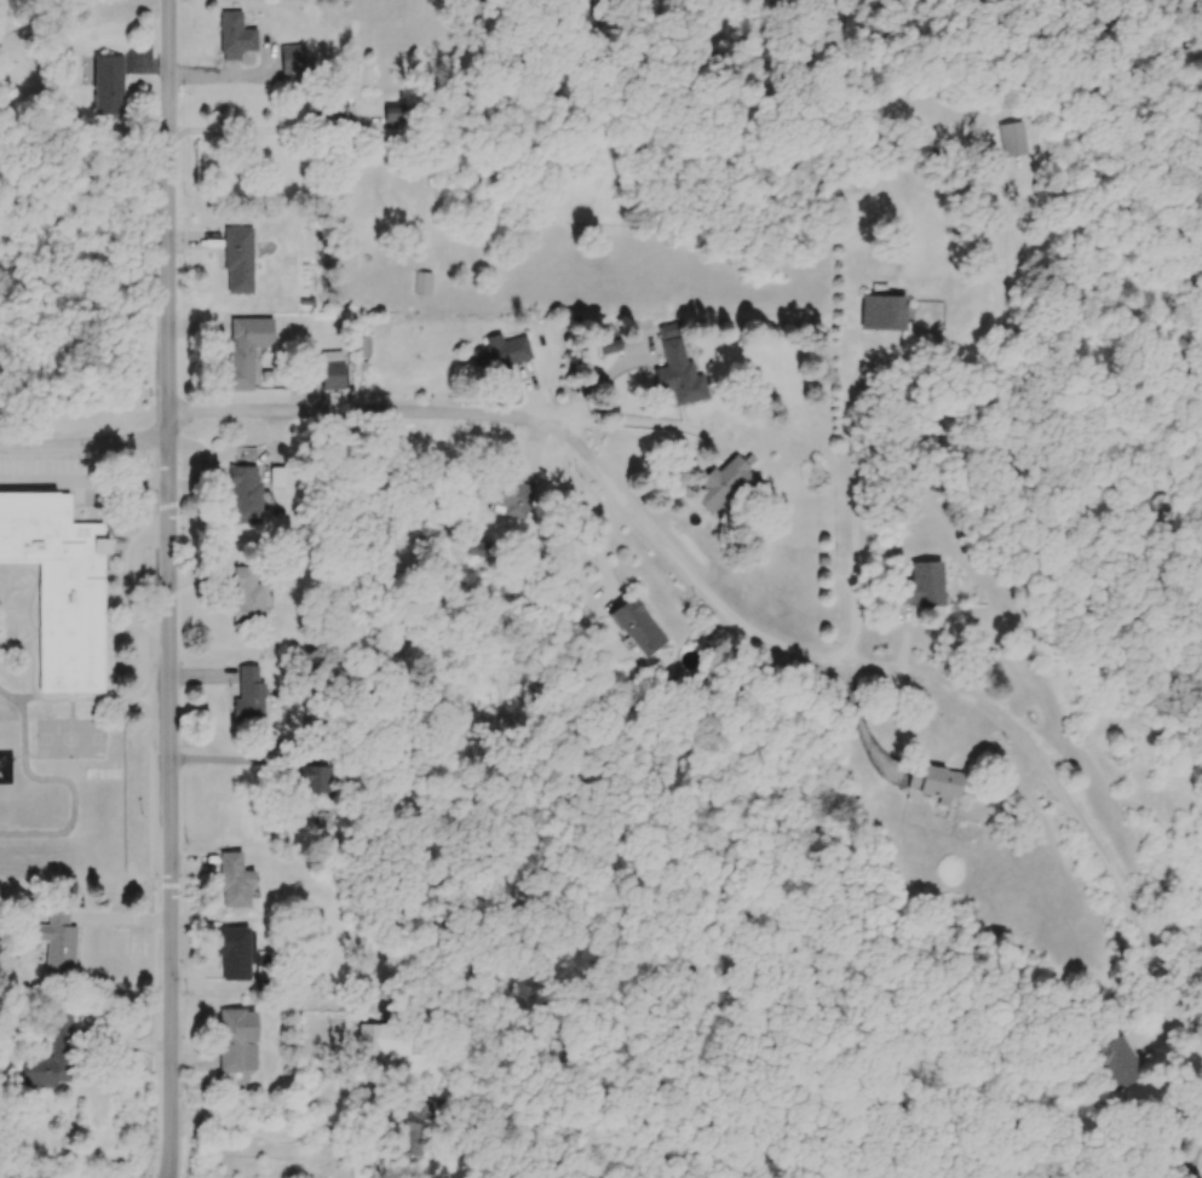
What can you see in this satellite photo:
building: (237, 36)
building: (293, 61)
building: (110, 86)
building: (327, 107)
building: (396, 115)
road: (259, 126)
building: (1016, 139)
building: (240, 260)
building: (424, 283)
building: (885, 314)
building: (363, 347)
building: (245, 351)
building: (501, 355)
building: (679, 374)
building: (334, 378)
road: (362, 410)
road: (638, 423)
road: (87, 441)
building: (278, 478)
road: (85, 483)
building: (729, 485)
building: (246, 487)
building: (506, 496)
road: (853, 513)
building: (61, 587)
building: (922, 587)
road: (169, 588)
building: (248, 598)
building: (640, 628)
road: (919, 677)
building: (251, 696)
road: (230, 759)
building: (318, 781)
building: (939, 786)
building: (236, 884)
building: (890, 918)
building: (61, 942)
building: (235, 954)
building: (265, 975)
building: (386, 1040)
building: (238, 1041)
building: (53, 1058)
building: (1116, 1064)
building: (420, 1124)
road: (278, 1134)

